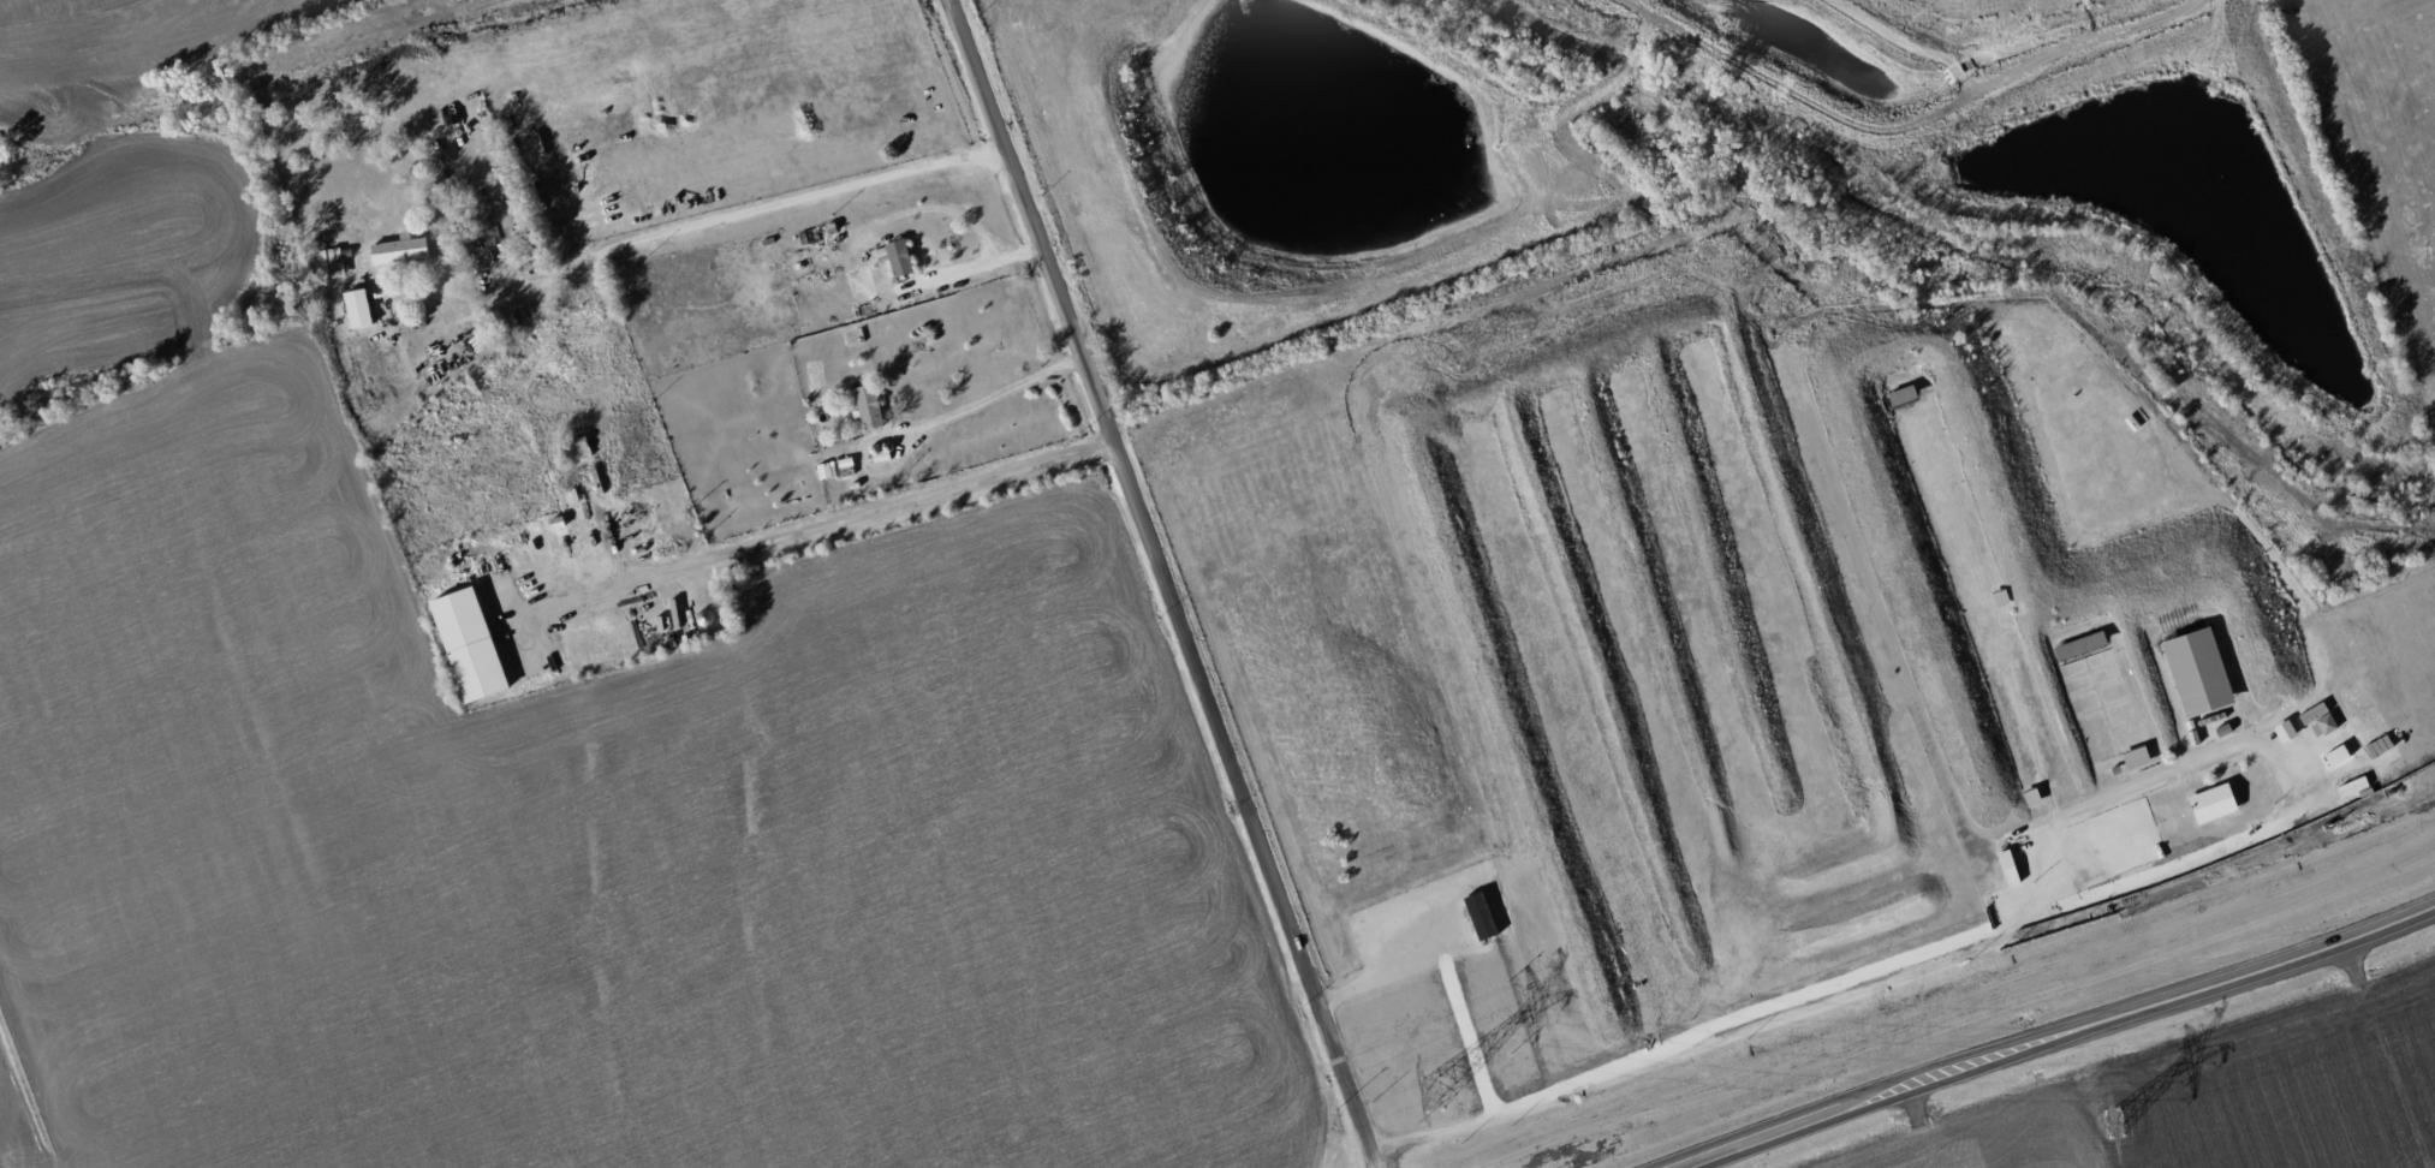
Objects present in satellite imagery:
landfill: (2005, 29)
road: (2005, 76)
road: (708, 219)
building: (399, 250)
building: (895, 257)
building: (357, 308)
building: (868, 406)
road: (919, 428)
building: (577, 448)
road: (805, 524)
road: (1160, 584)
building: (469, 644)
building: (2192, 672)
building: (2208, 803)
road: (2016, 913)
building: (1480, 916)
road: (2056, 1036)
power tower: (1431, 1097)
power tower: (2114, 1124)

